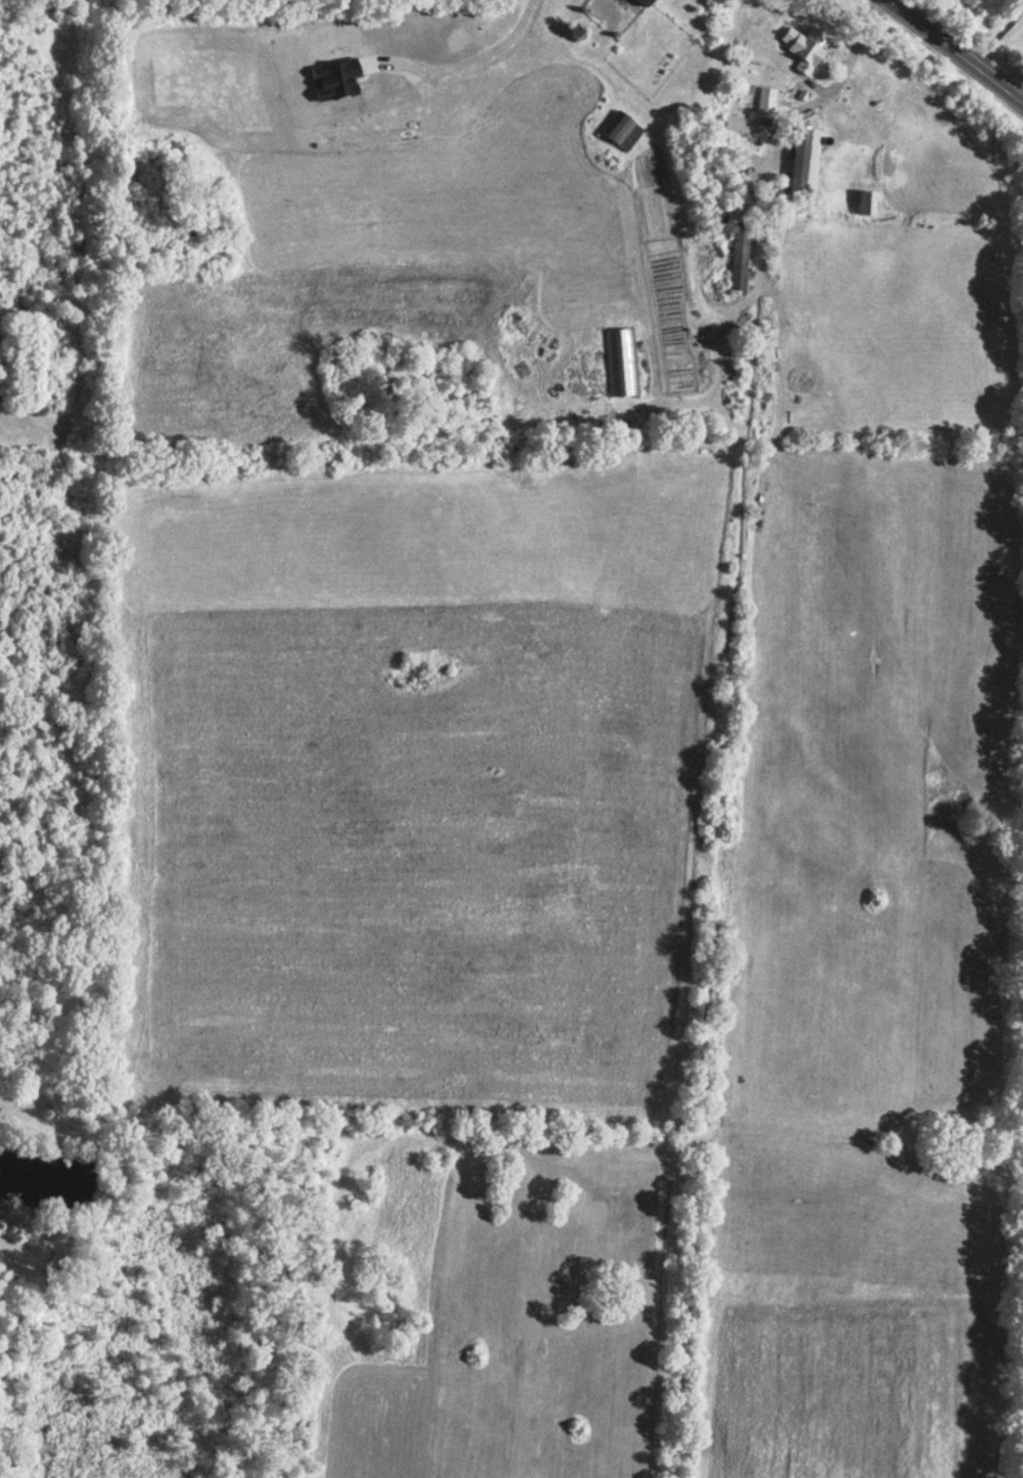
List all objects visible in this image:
building: (635, 4)
road: (993, 31)
road: (954, 51)
building: (799, 53)
road: (469, 62)
road: (825, 89)
building: (618, 131)
building: (799, 161)
building: (861, 204)
building: (618, 361)

